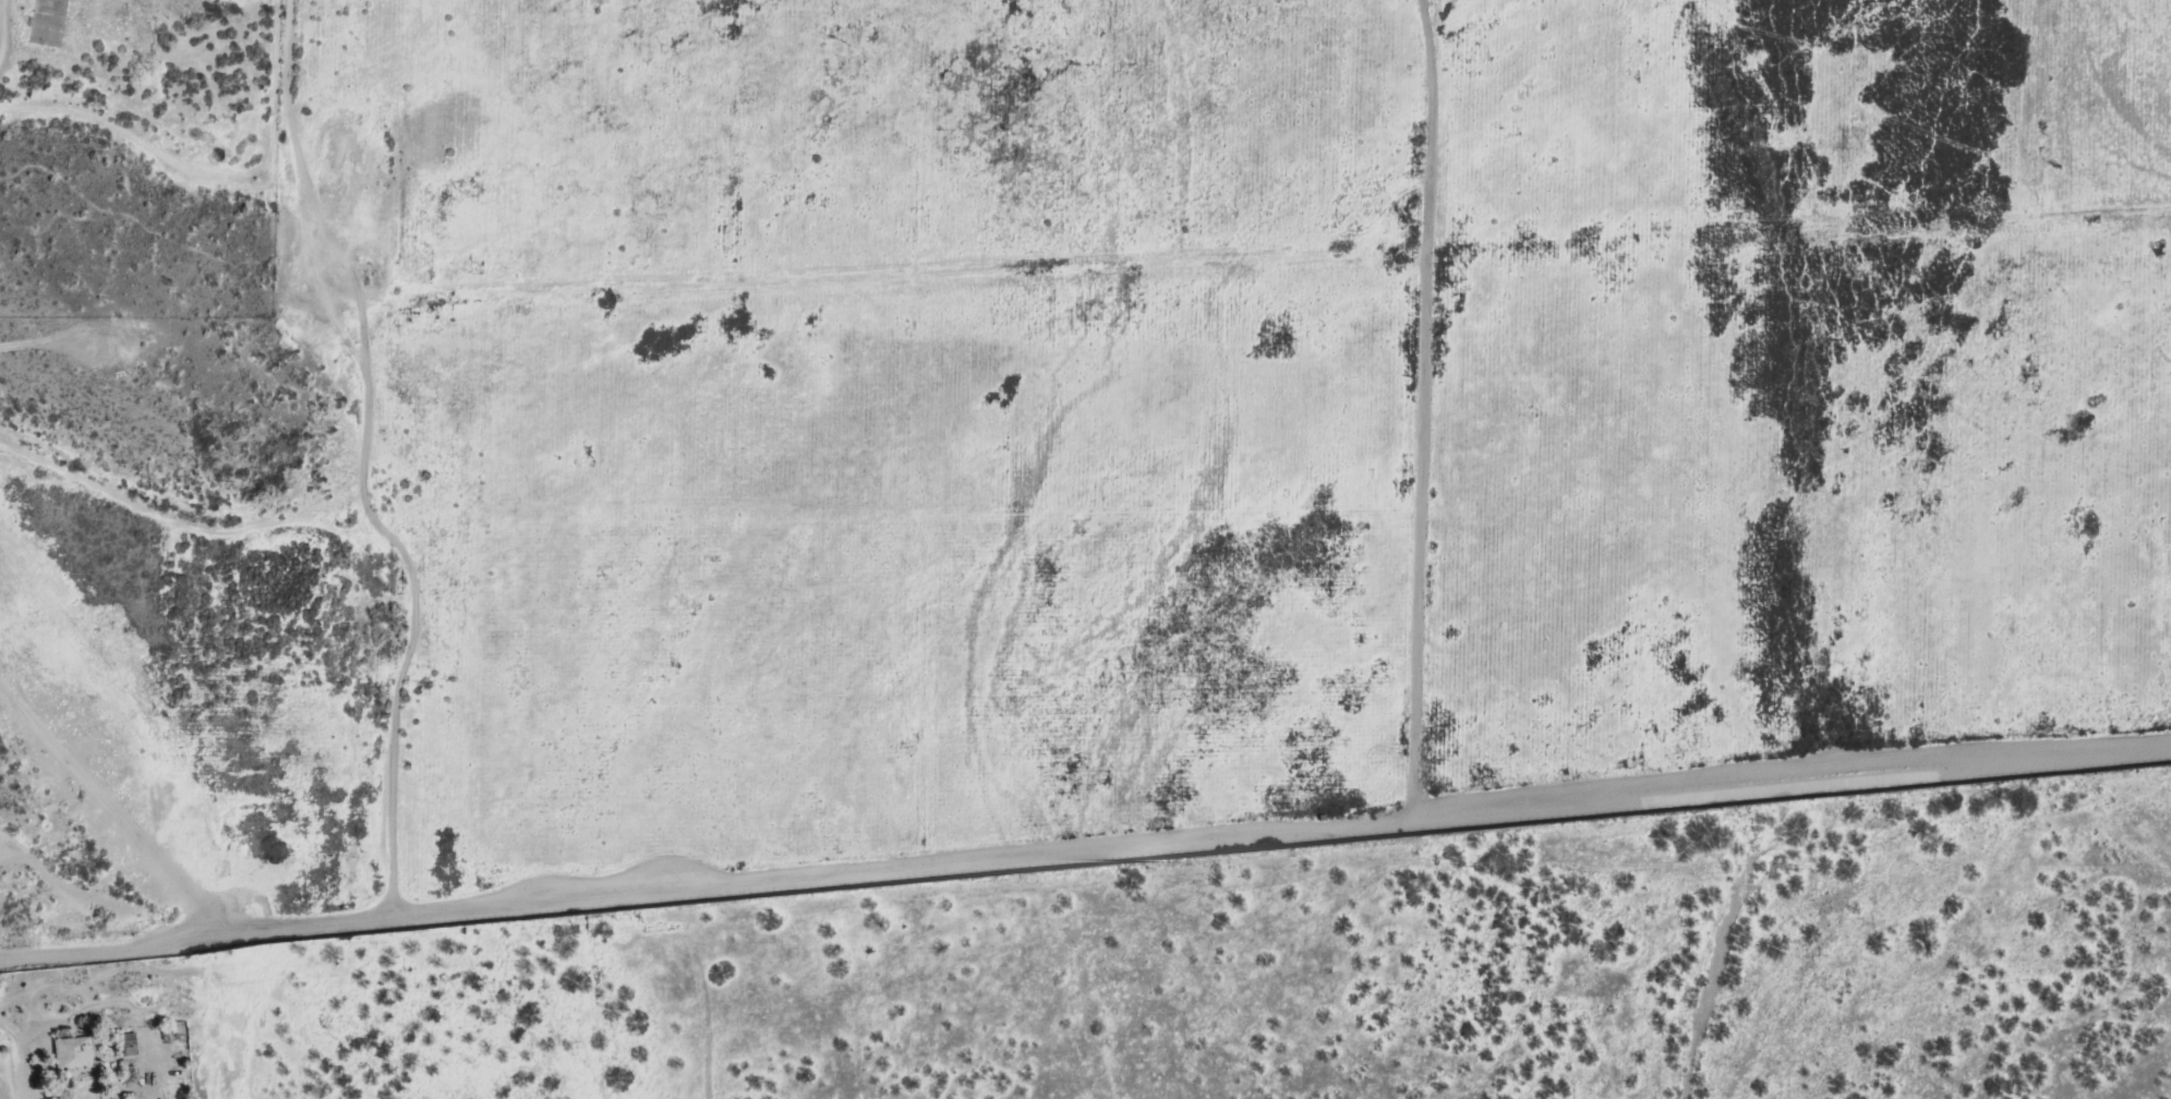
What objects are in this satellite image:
park: (137, 158)
road: (1085, 855)
road: (82, 894)
building: (62, 1052)
road: (15, 1059)

